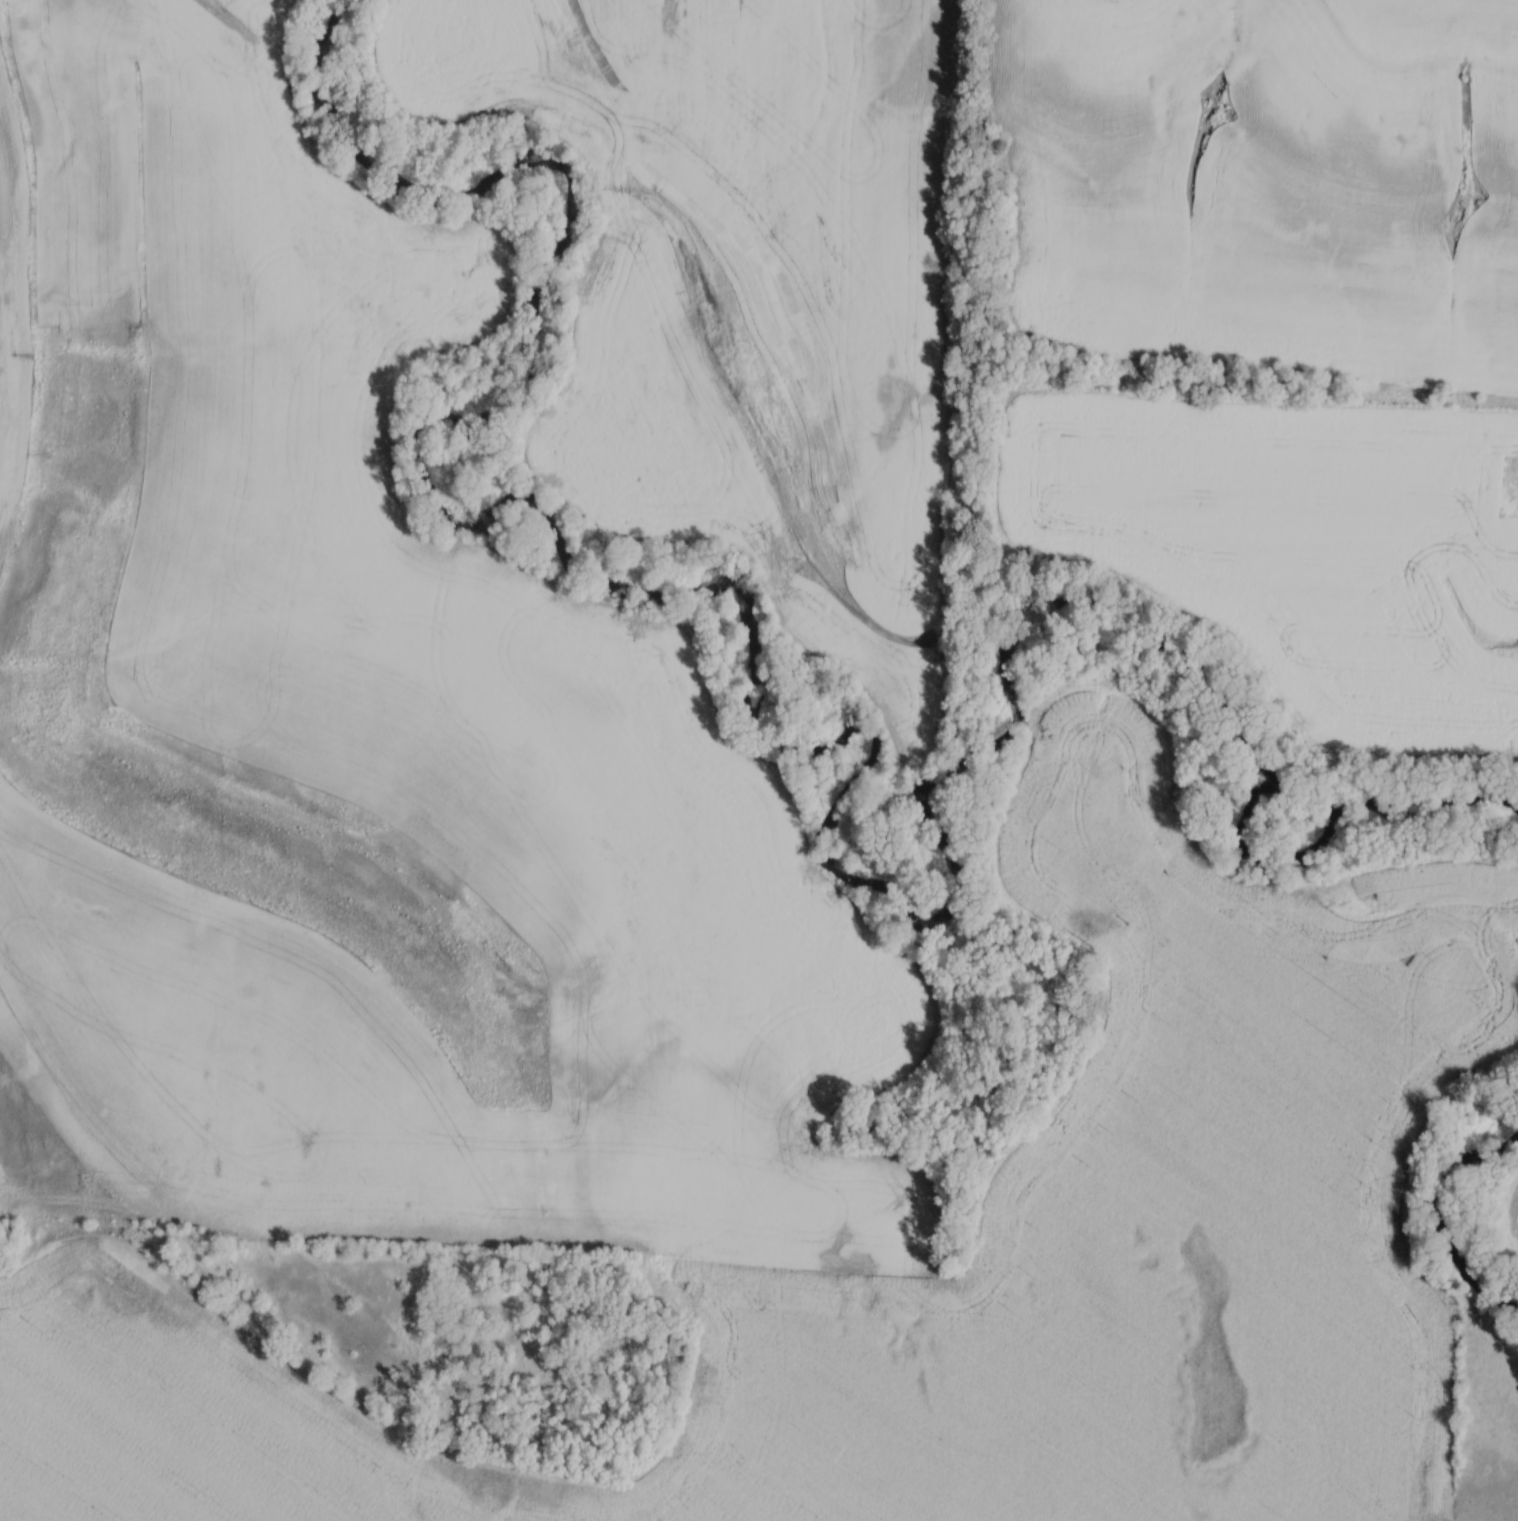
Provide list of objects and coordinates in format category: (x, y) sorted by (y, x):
river: (539, 339)
river: (1021, 651)
river: (1442, 1216)
building: (680, 1347)

